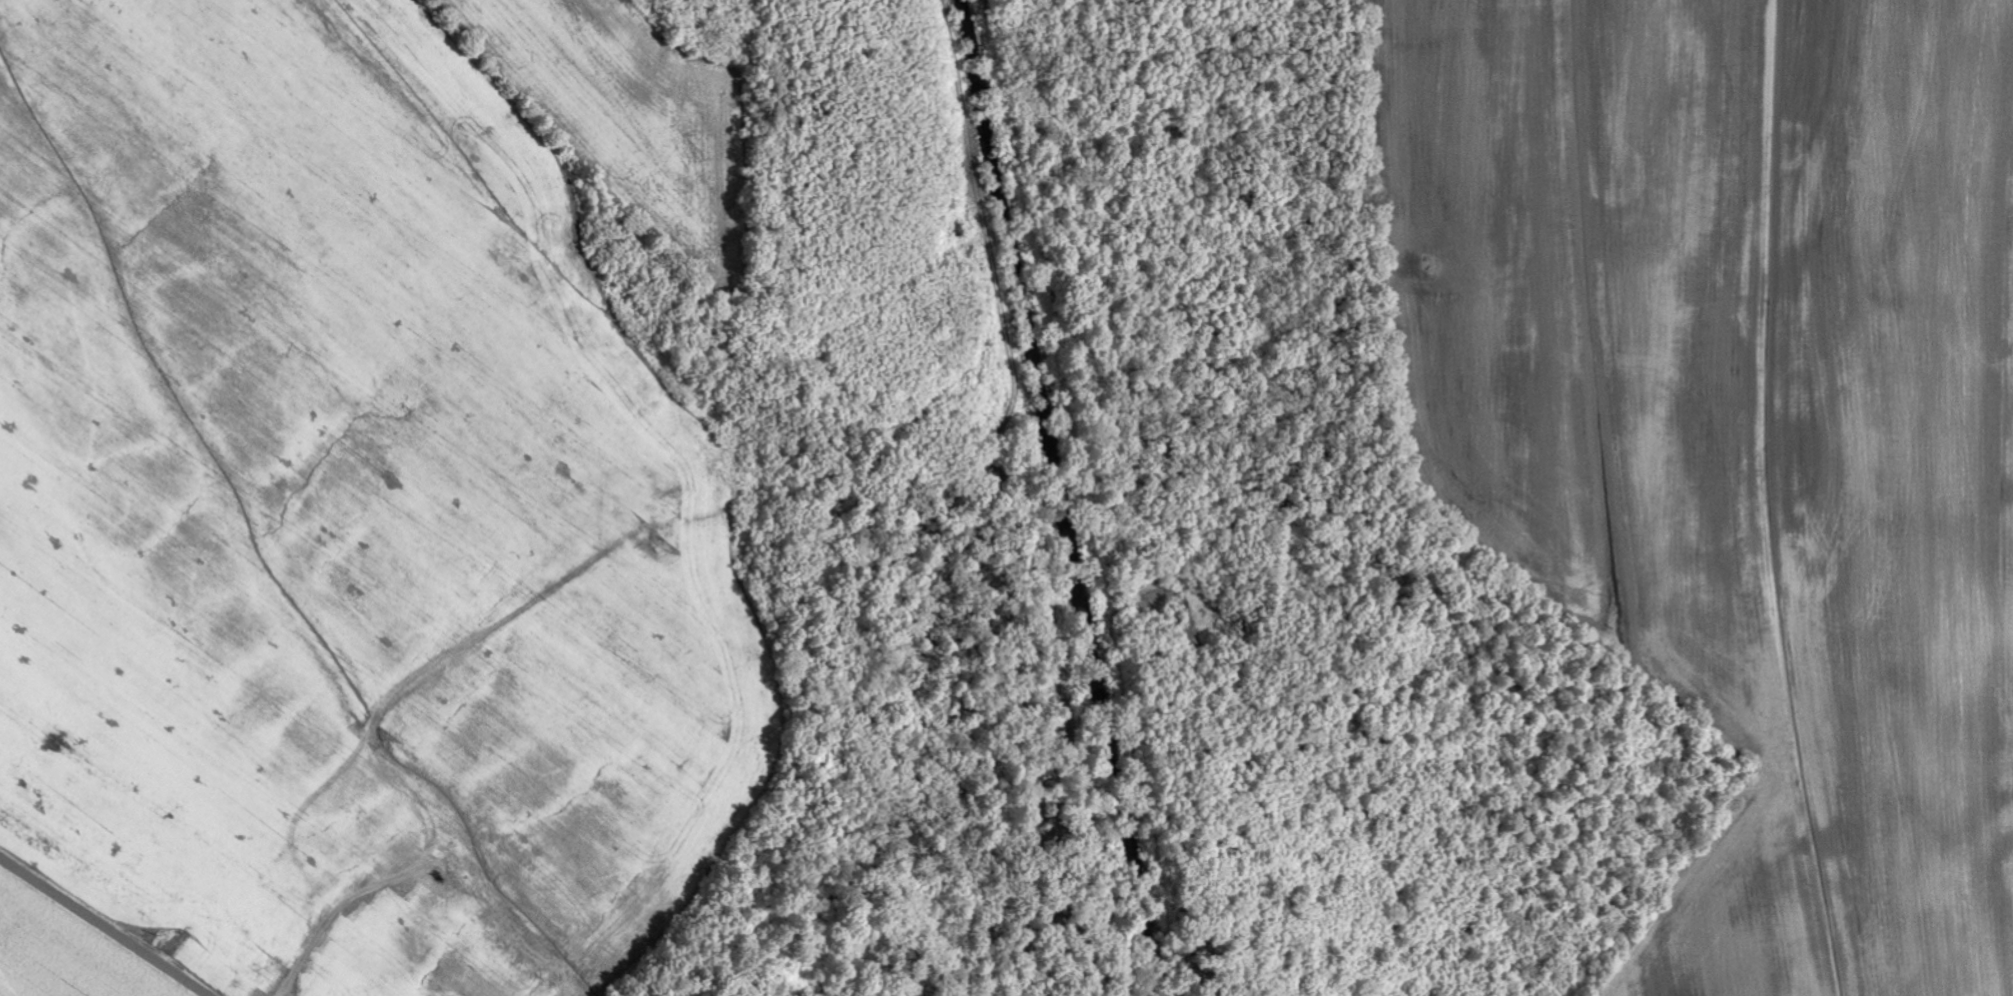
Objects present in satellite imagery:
road: (105, 926)

